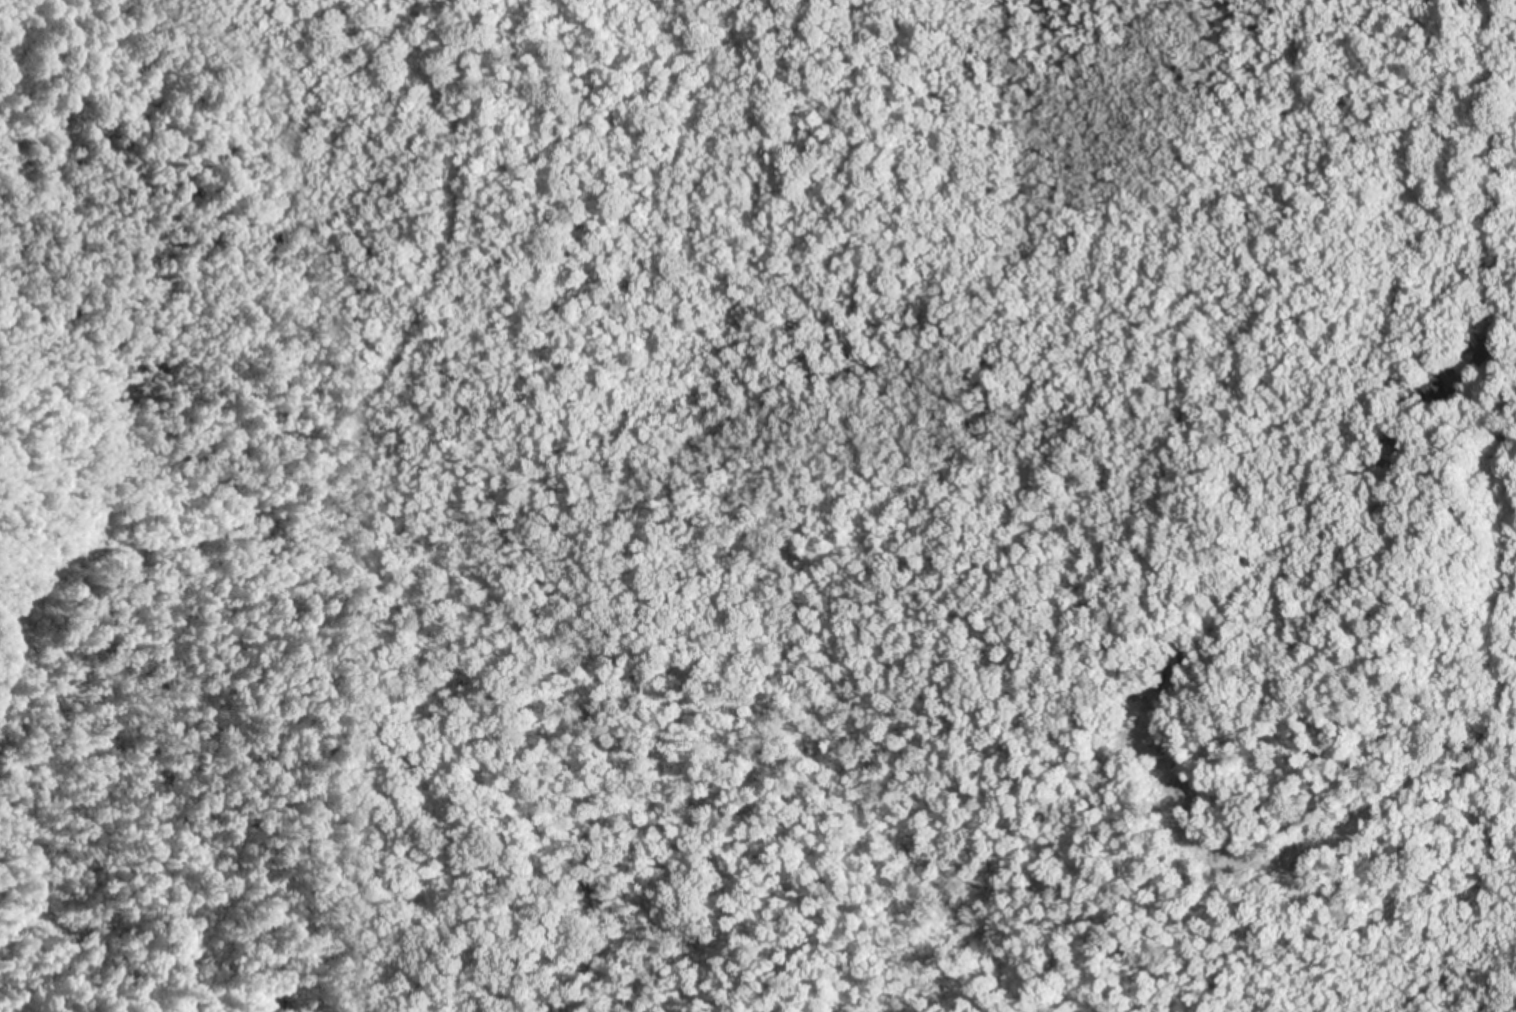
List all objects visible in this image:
building: (1435, 386)

